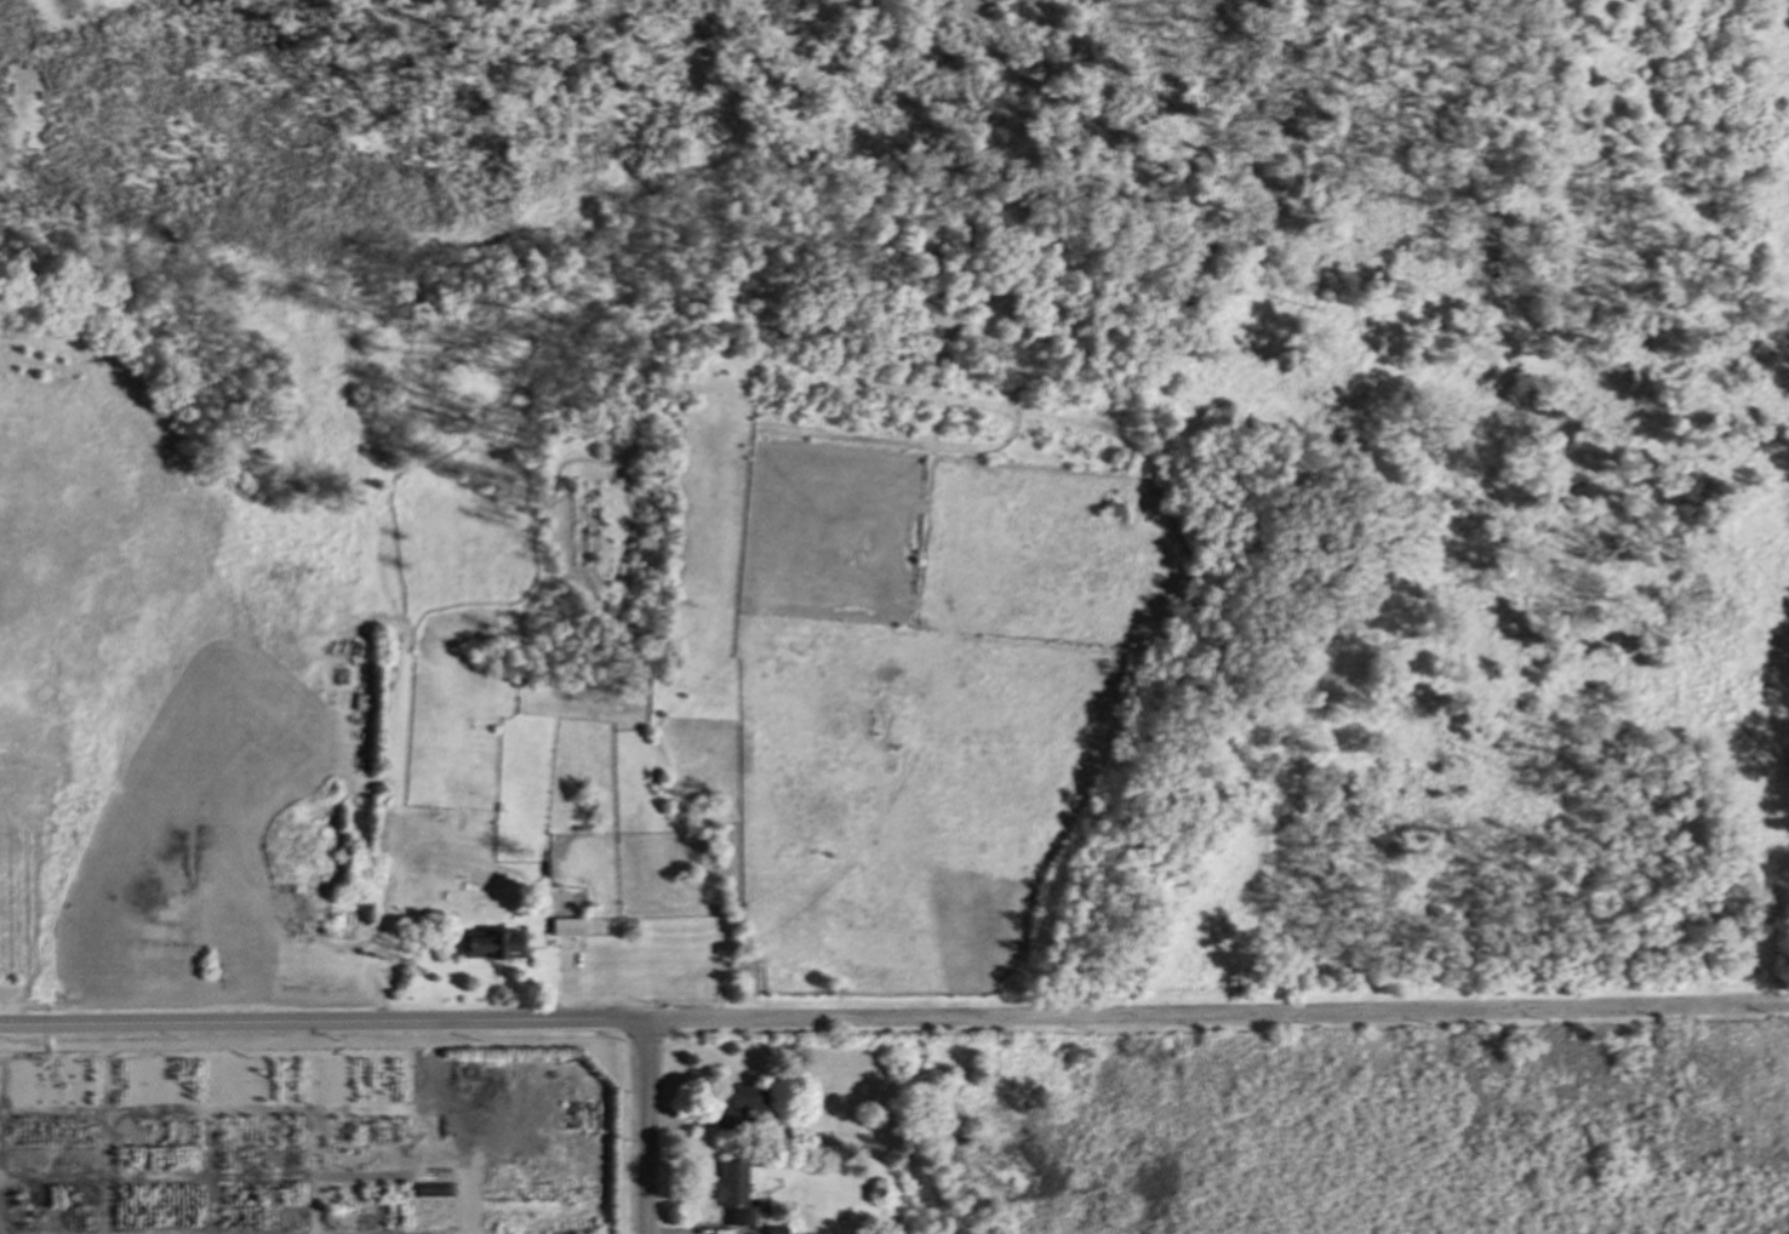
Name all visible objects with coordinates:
building: (934, 314)
building: (566, 925)
building: (490, 942)
road: (894, 1019)
building: (735, 1104)
road: (647, 1127)
building: (728, 1183)
building: (775, 1229)

